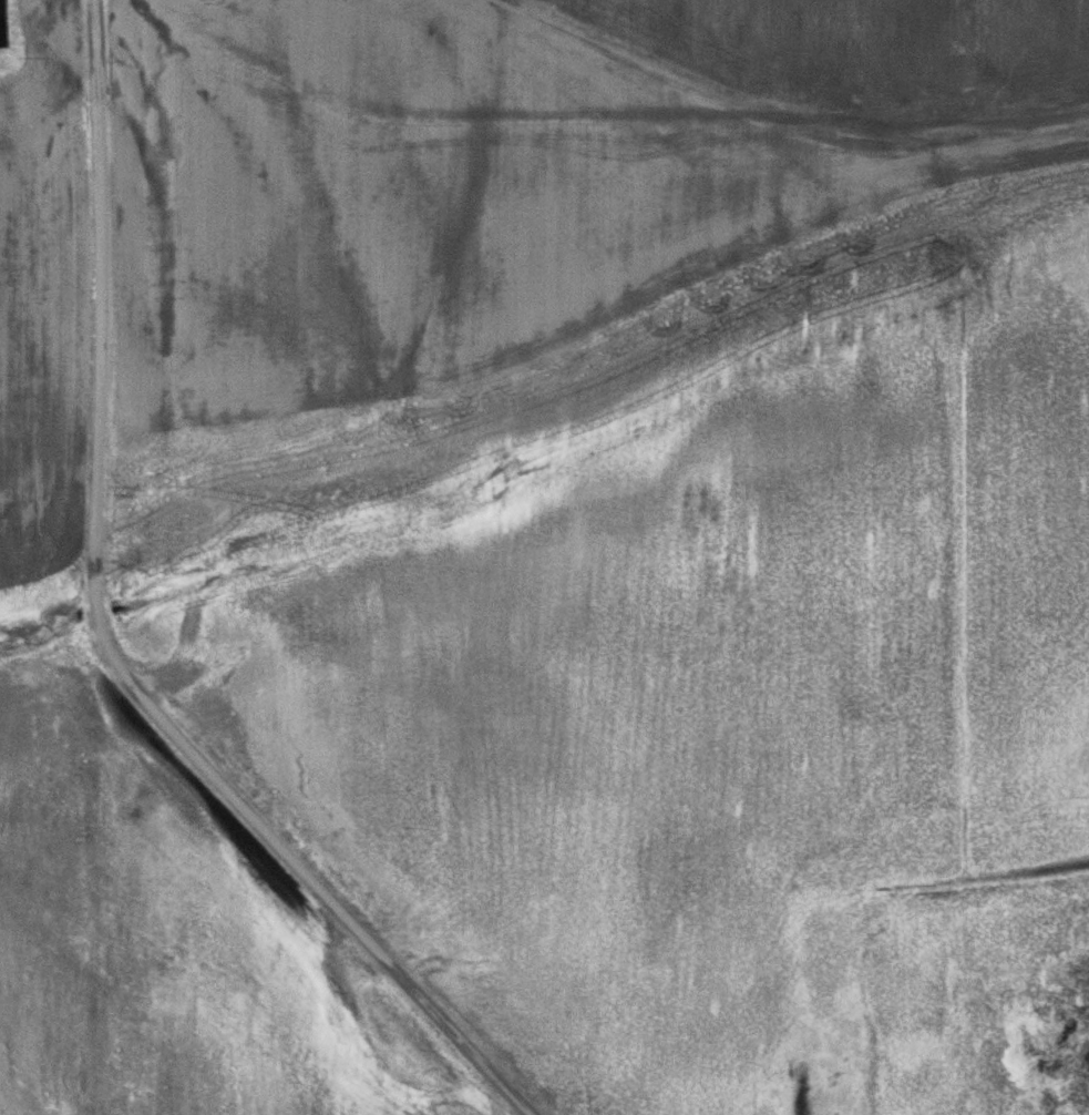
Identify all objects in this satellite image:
road: (112, 637)

